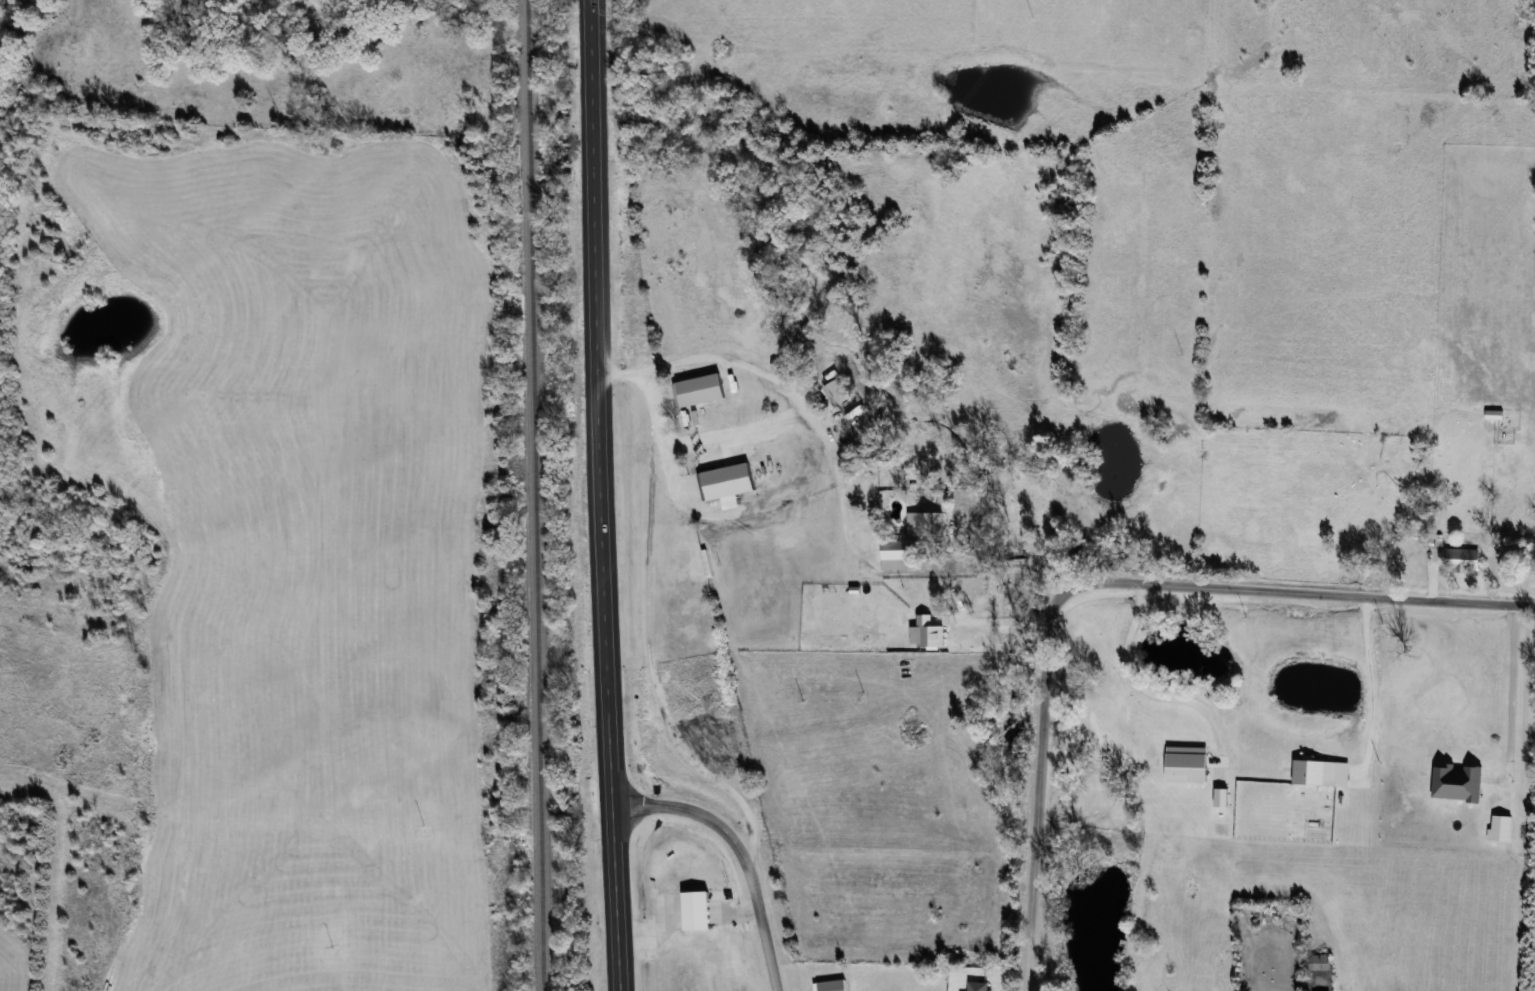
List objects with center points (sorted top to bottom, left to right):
road: (599, 406)
road: (839, 473)
railway: (535, 495)
building: (1463, 559)
road: (1096, 581)
road: (650, 649)
road: (1144, 687)
road: (1374, 687)
road: (1514, 698)
building: (957, 711)
road: (739, 852)
road: (619, 901)
building: (698, 911)
building: (1321, 962)
building: (831, 986)

